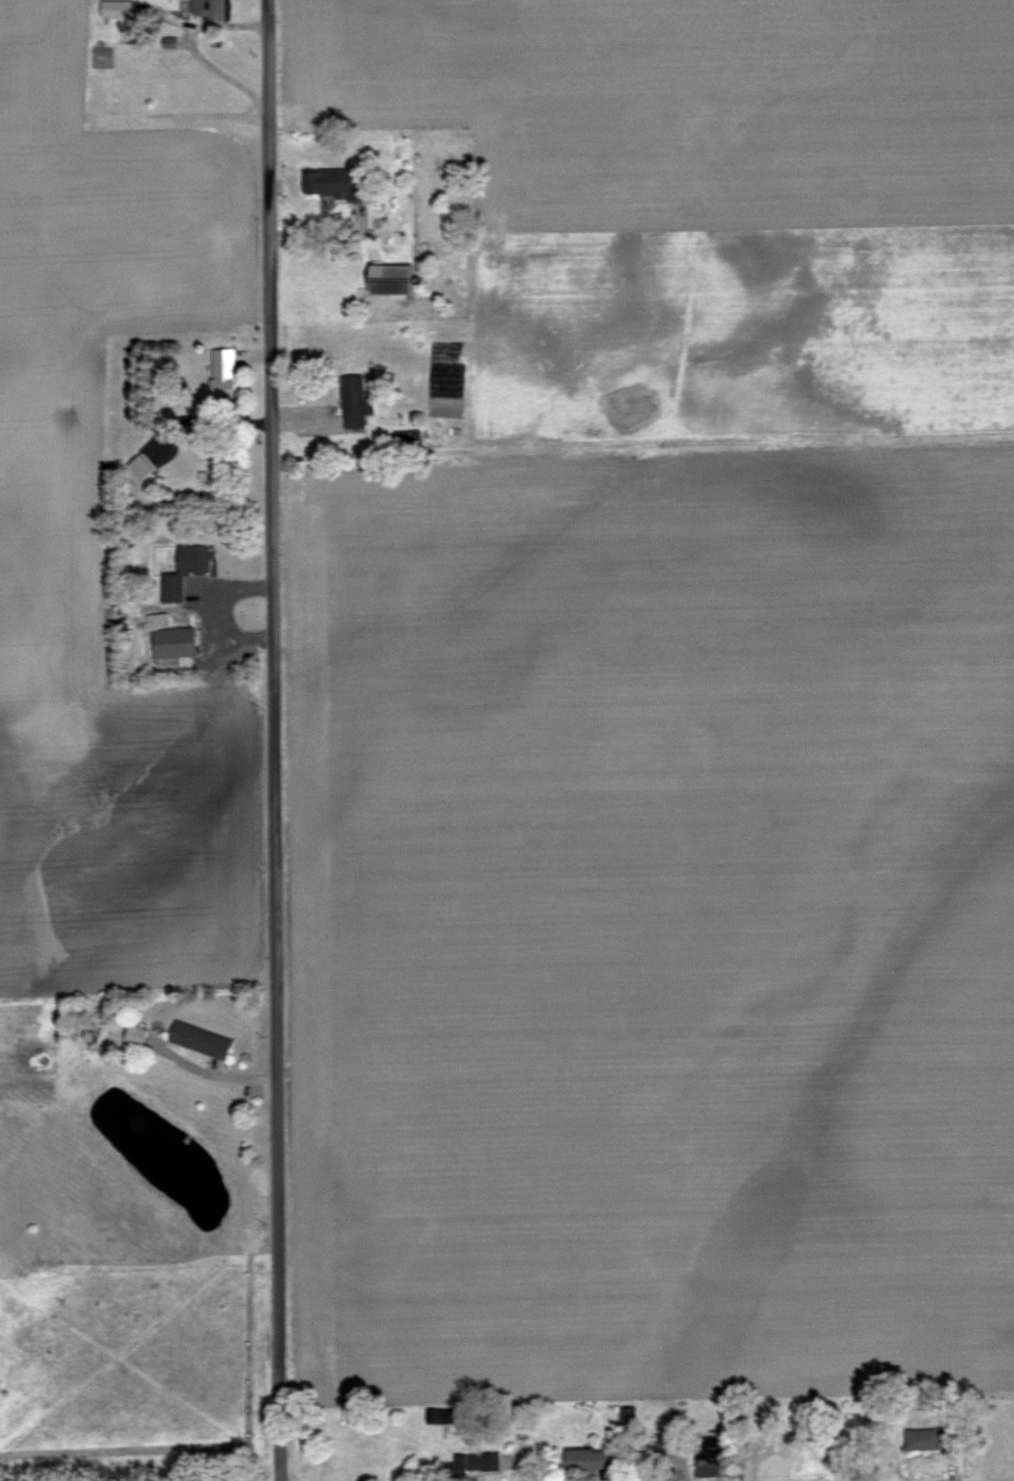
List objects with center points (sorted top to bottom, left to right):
building: (116, 8)
building: (207, 9)
road: (194, 55)
building: (333, 184)
building: (389, 280)
building: (222, 370)
building: (354, 402)
building: (140, 467)
building: (184, 569)
road: (233, 590)
building: (173, 641)
road: (272, 740)
building: (135, 1034)
building: (200, 1039)
road: (212, 1077)
building: (440, 1415)
building: (923, 1439)
building: (663, 1442)
building: (708, 1457)
building: (586, 1459)
building: (474, 1463)

